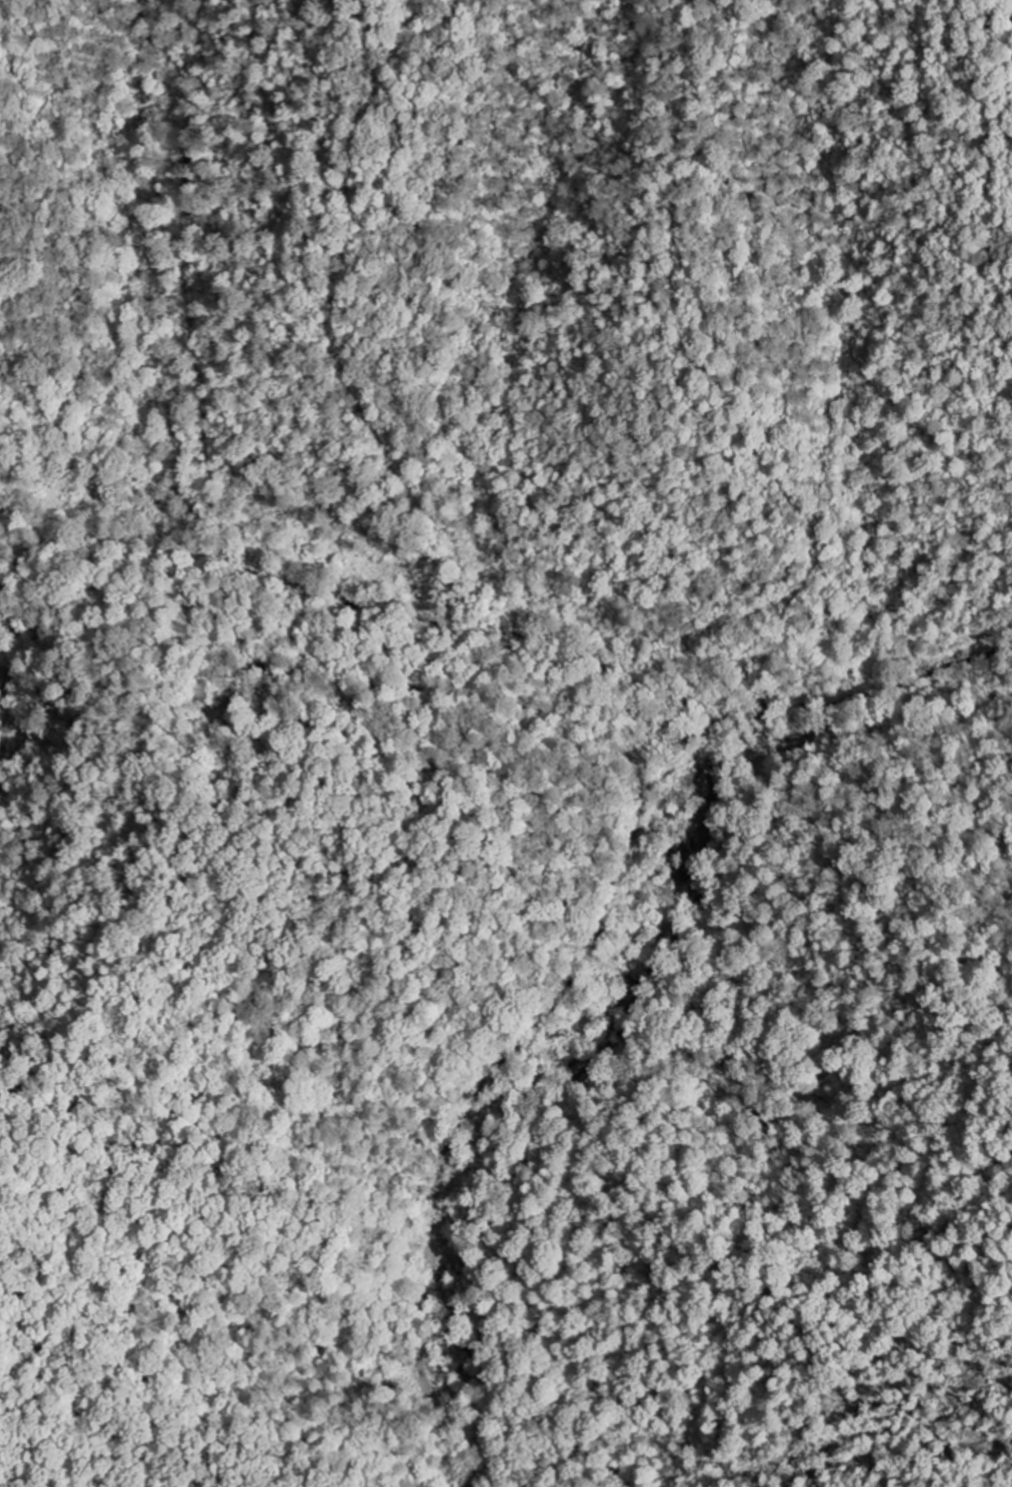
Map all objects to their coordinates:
road: (174, 523)
road: (670, 682)

